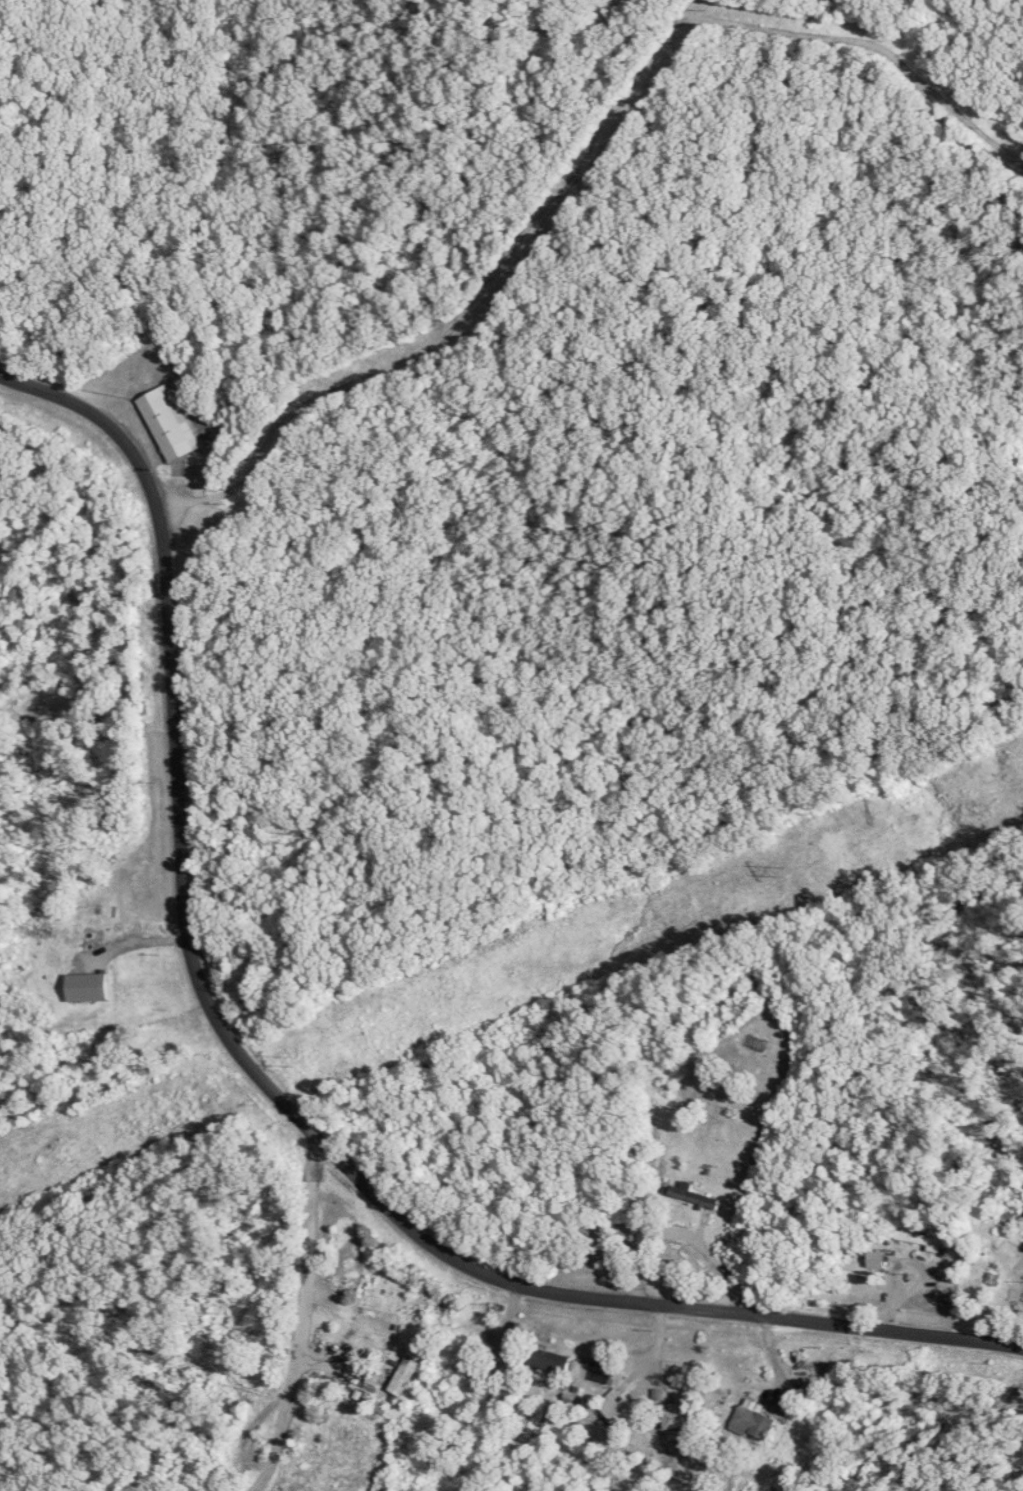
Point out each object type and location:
building: (173, 424)
road: (163, 756)
building: (84, 989)
building: (132, 990)
road: (120, 1048)
building: (923, 1240)
road: (650, 1307)
road: (299, 1342)
building: (556, 1361)
building: (628, 1412)
building: (687, 1417)
building: (759, 1423)

